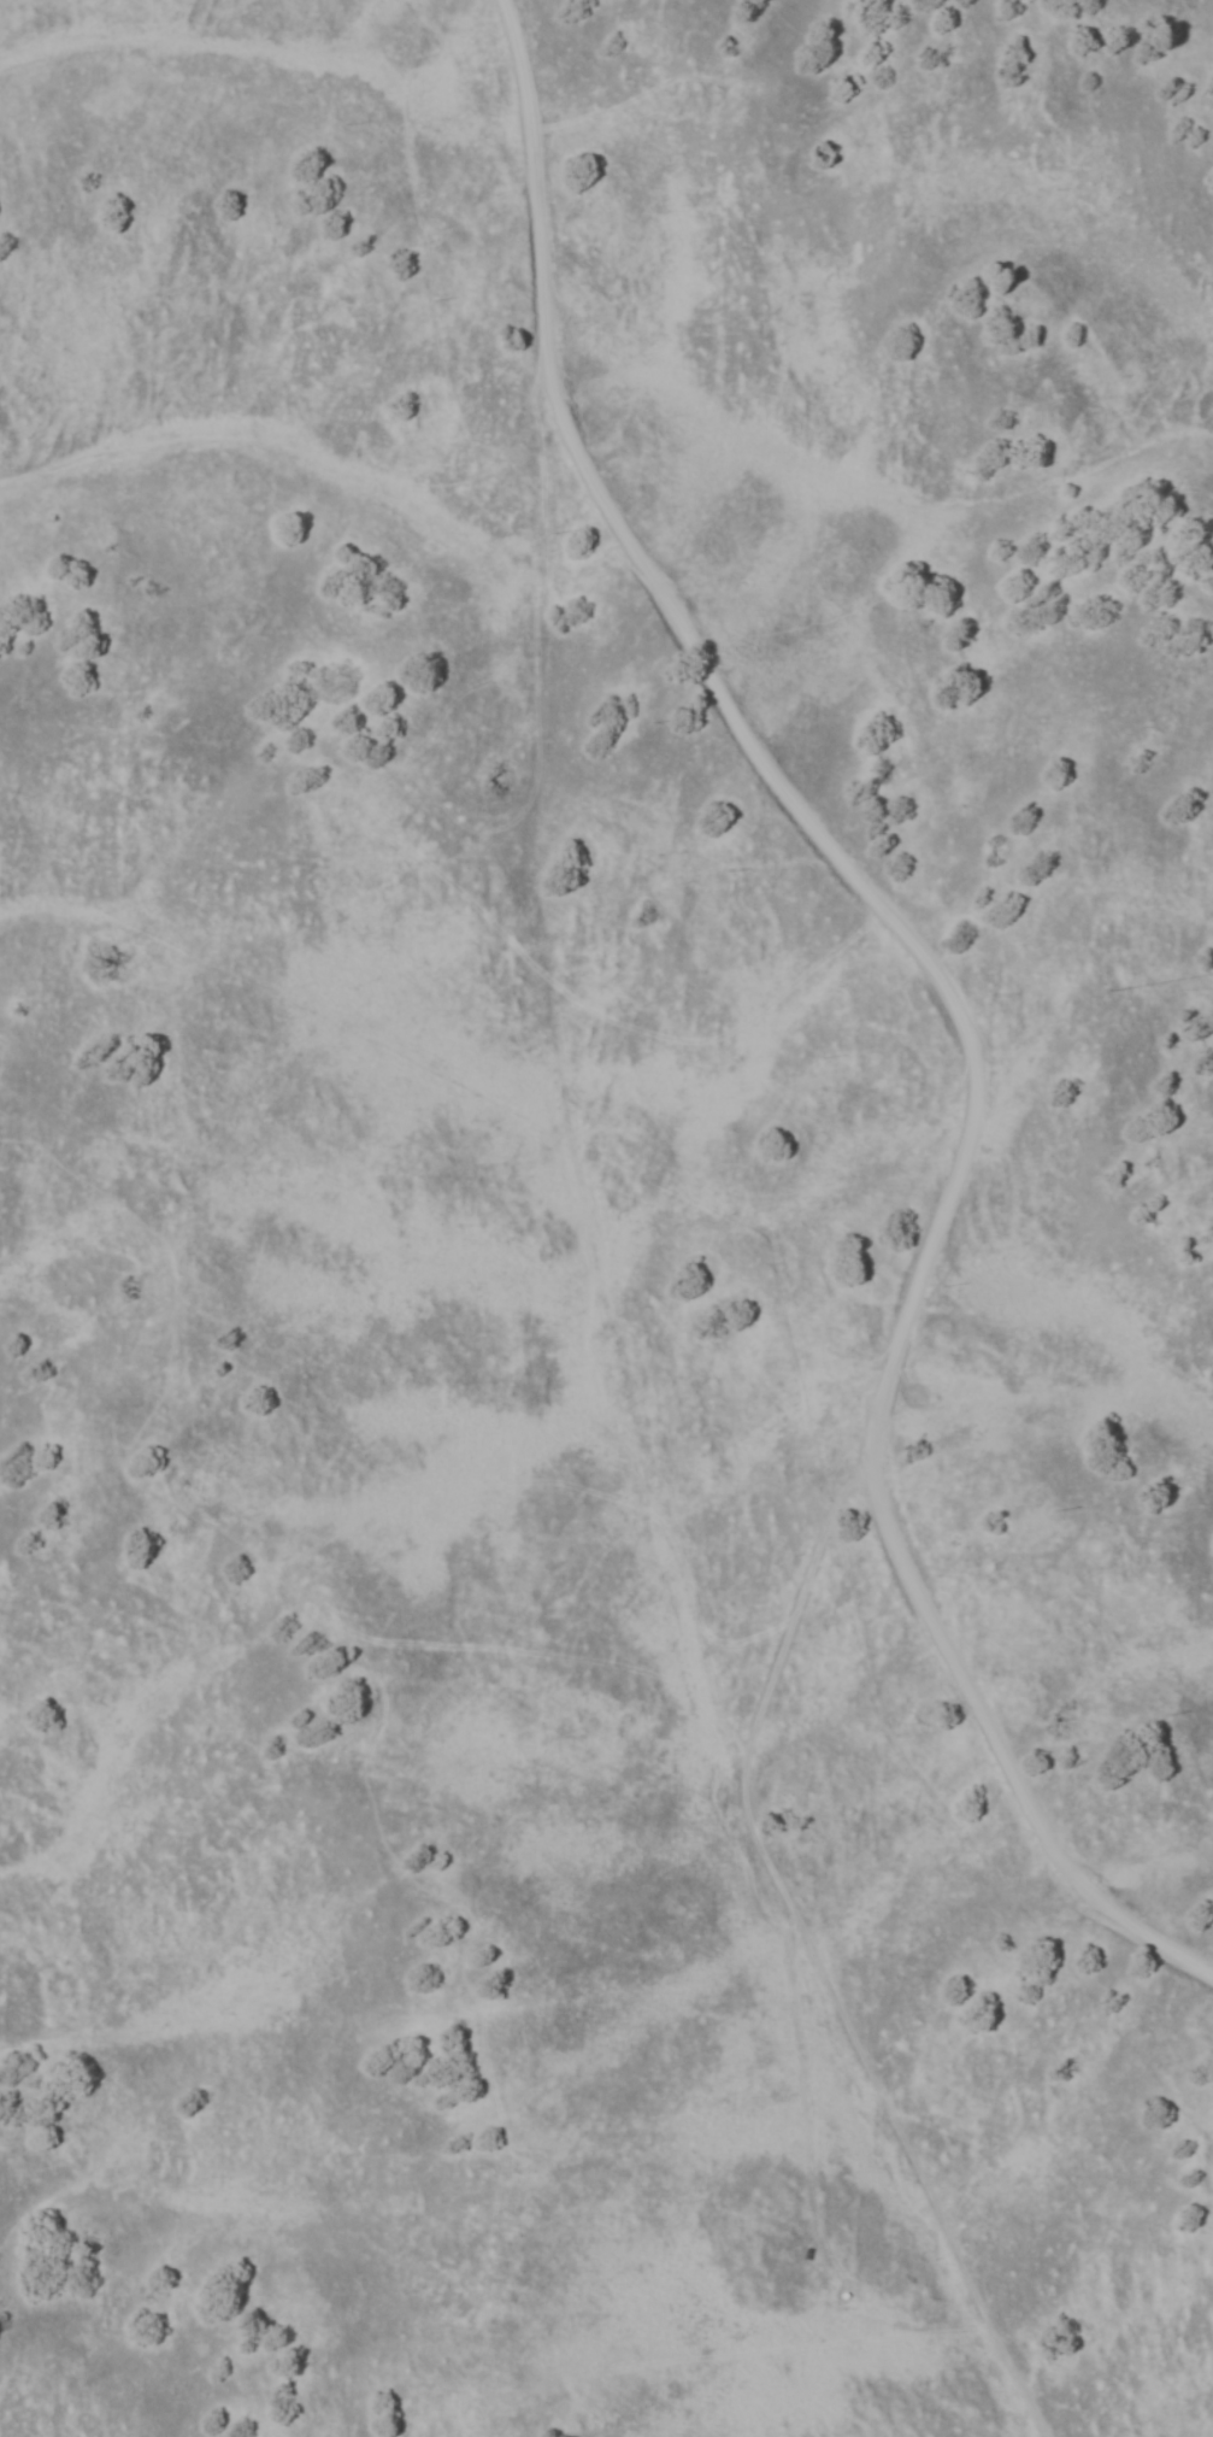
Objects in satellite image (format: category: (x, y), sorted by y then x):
road: (943, 997)
road: (811, 1950)

